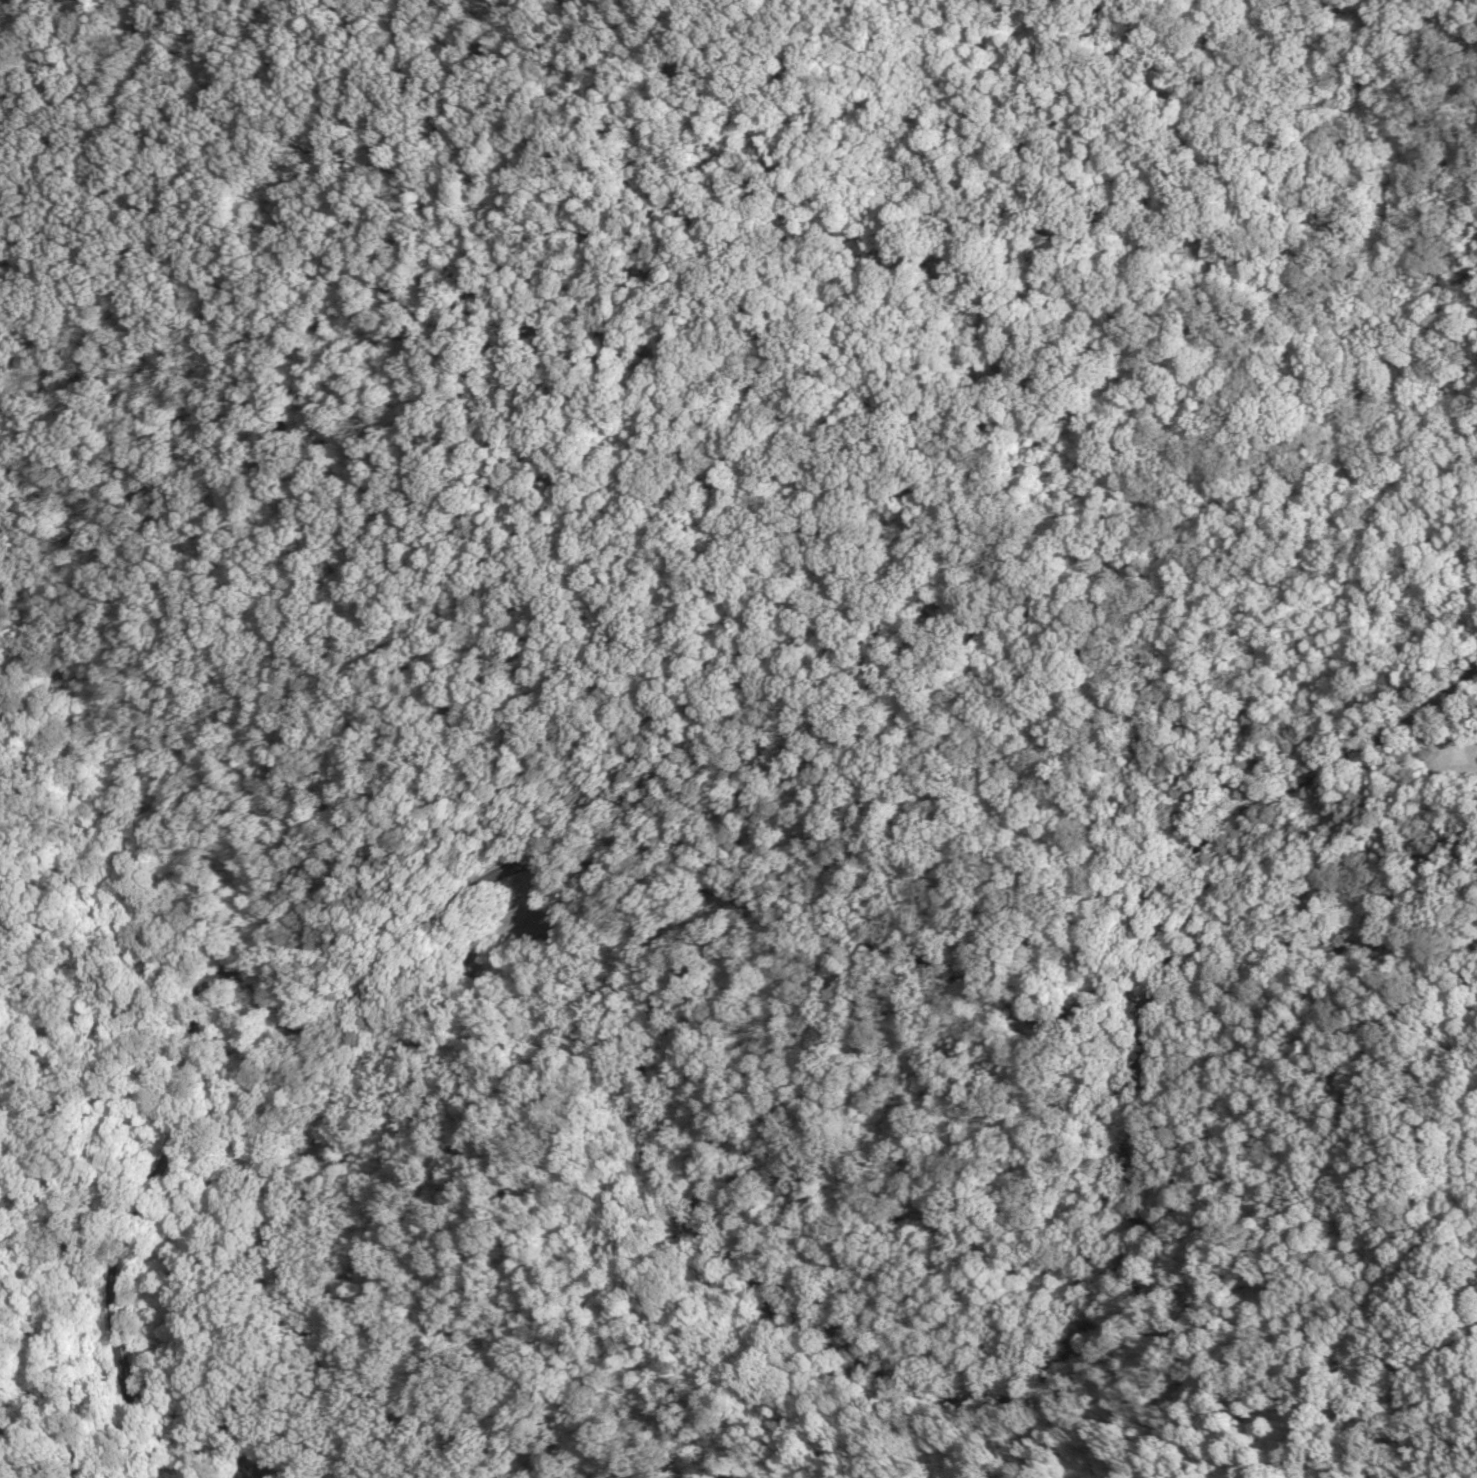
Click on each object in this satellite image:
road: (735, 1)
road: (472, 72)
road: (169, 260)
road: (969, 391)
park: (698, 606)
road: (451, 723)
road: (619, 870)
road: (1326, 1419)
road: (56, 1423)
road: (997, 1436)
road: (22, 1455)

